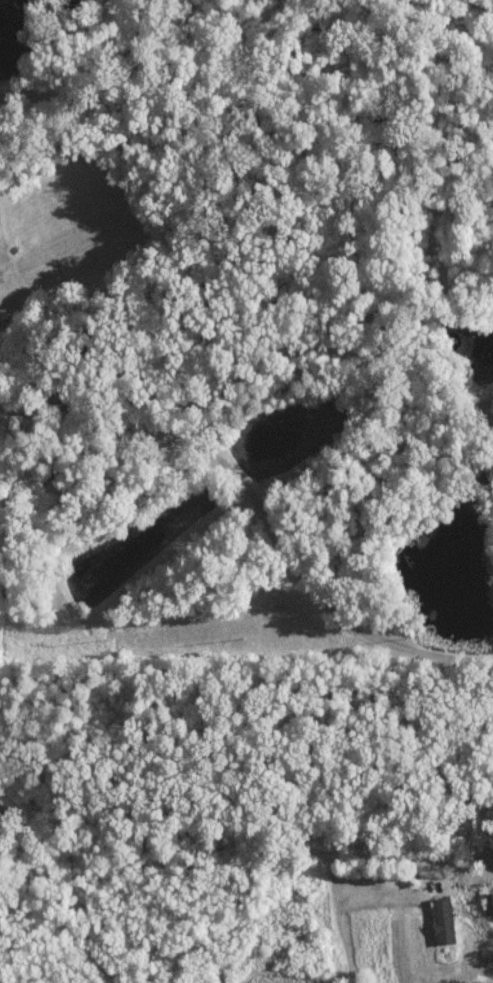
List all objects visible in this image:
road: (125, 98)
road: (353, 349)
road: (474, 400)
road: (273, 420)
road: (134, 442)
road: (214, 847)
building: (488, 902)
building: (440, 920)

